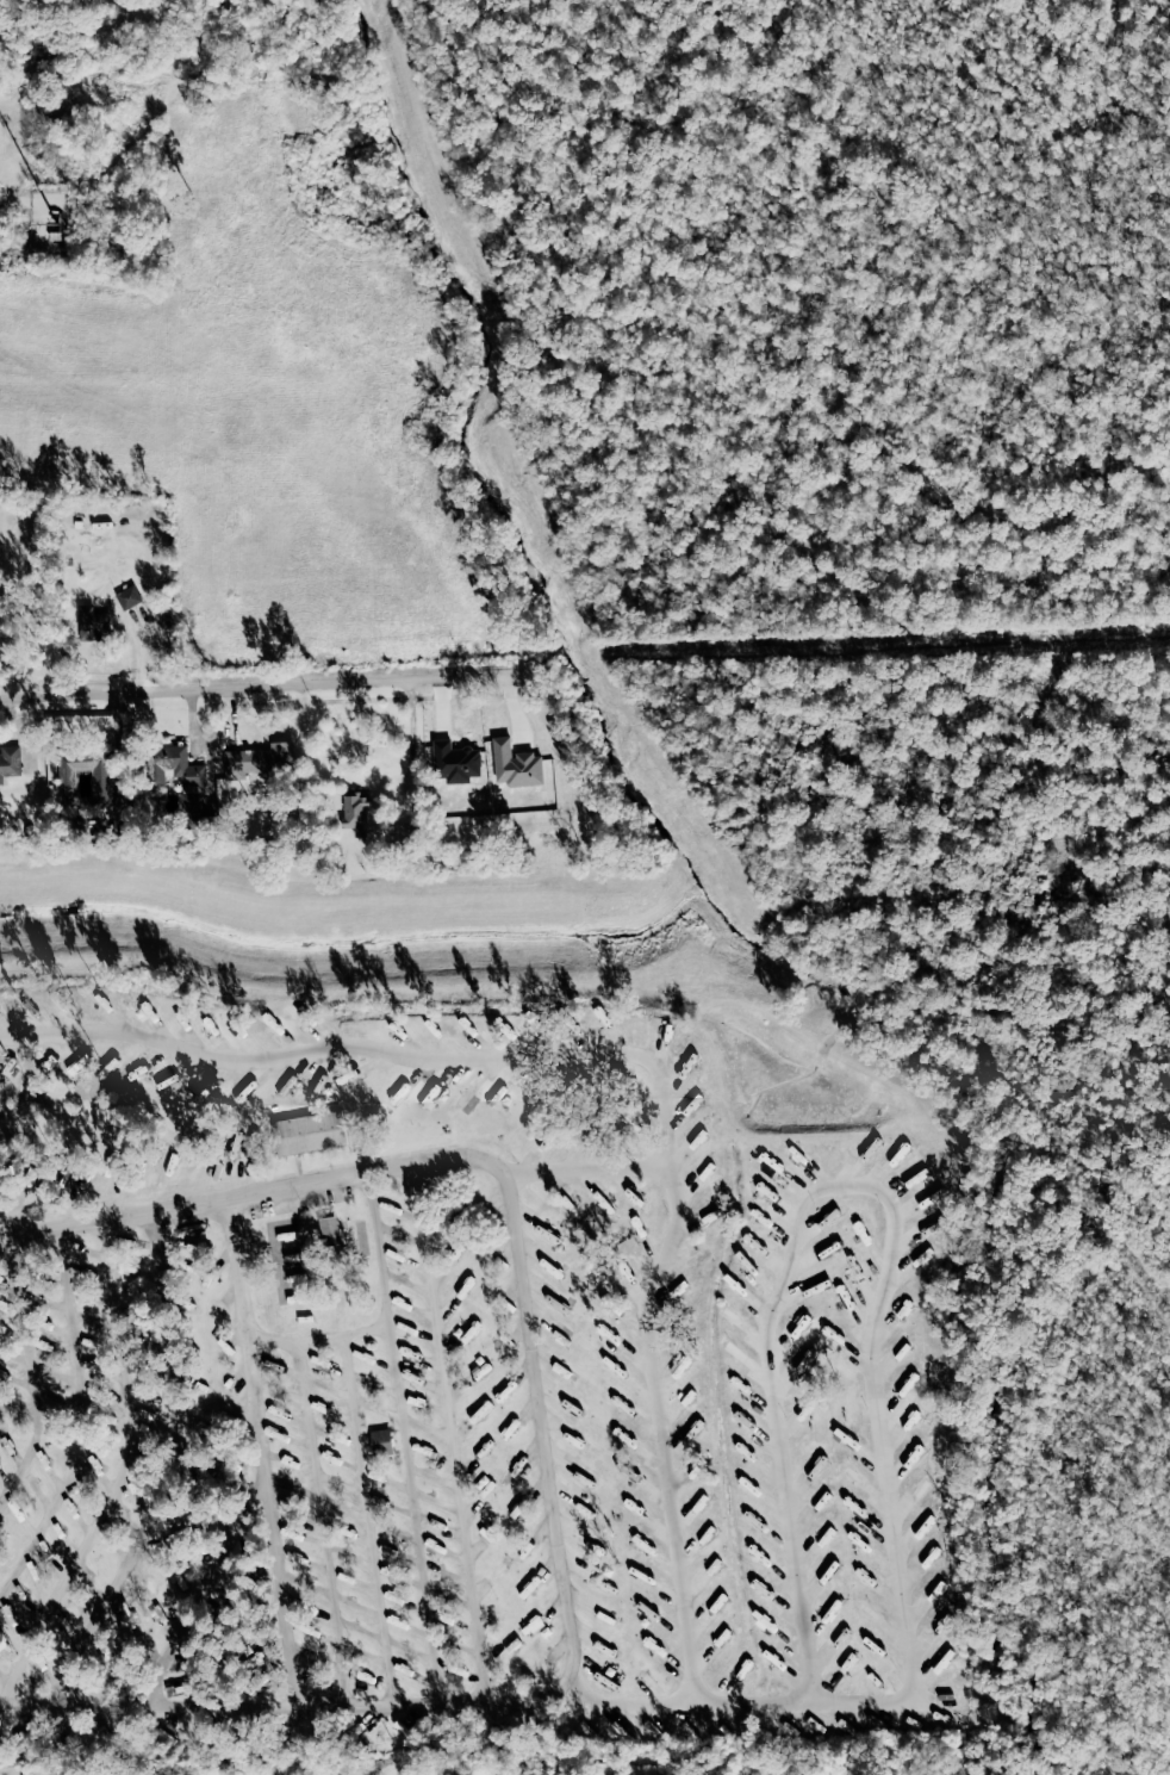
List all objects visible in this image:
building: (127, 596)
building: (91, 623)
road: (272, 685)
road: (410, 741)
building: (8, 761)
building: (257, 761)
building: (175, 765)
building: (100, 784)
building: (191, 811)
building: (355, 813)
road: (455, 1060)
building: (309, 1132)
road: (508, 1218)
building: (329, 1231)
road: (870, 1322)
road: (322, 1341)
road: (30, 1372)
road: (355, 1405)
road: (83, 1423)
road: (403, 1425)
road: (656, 1428)
building: (380, 1439)
road: (455, 1445)
road: (172, 1475)
road: (118, 1477)
road: (278, 1545)
road: (375, 1545)
road: (201, 1587)
road: (298, 1706)

